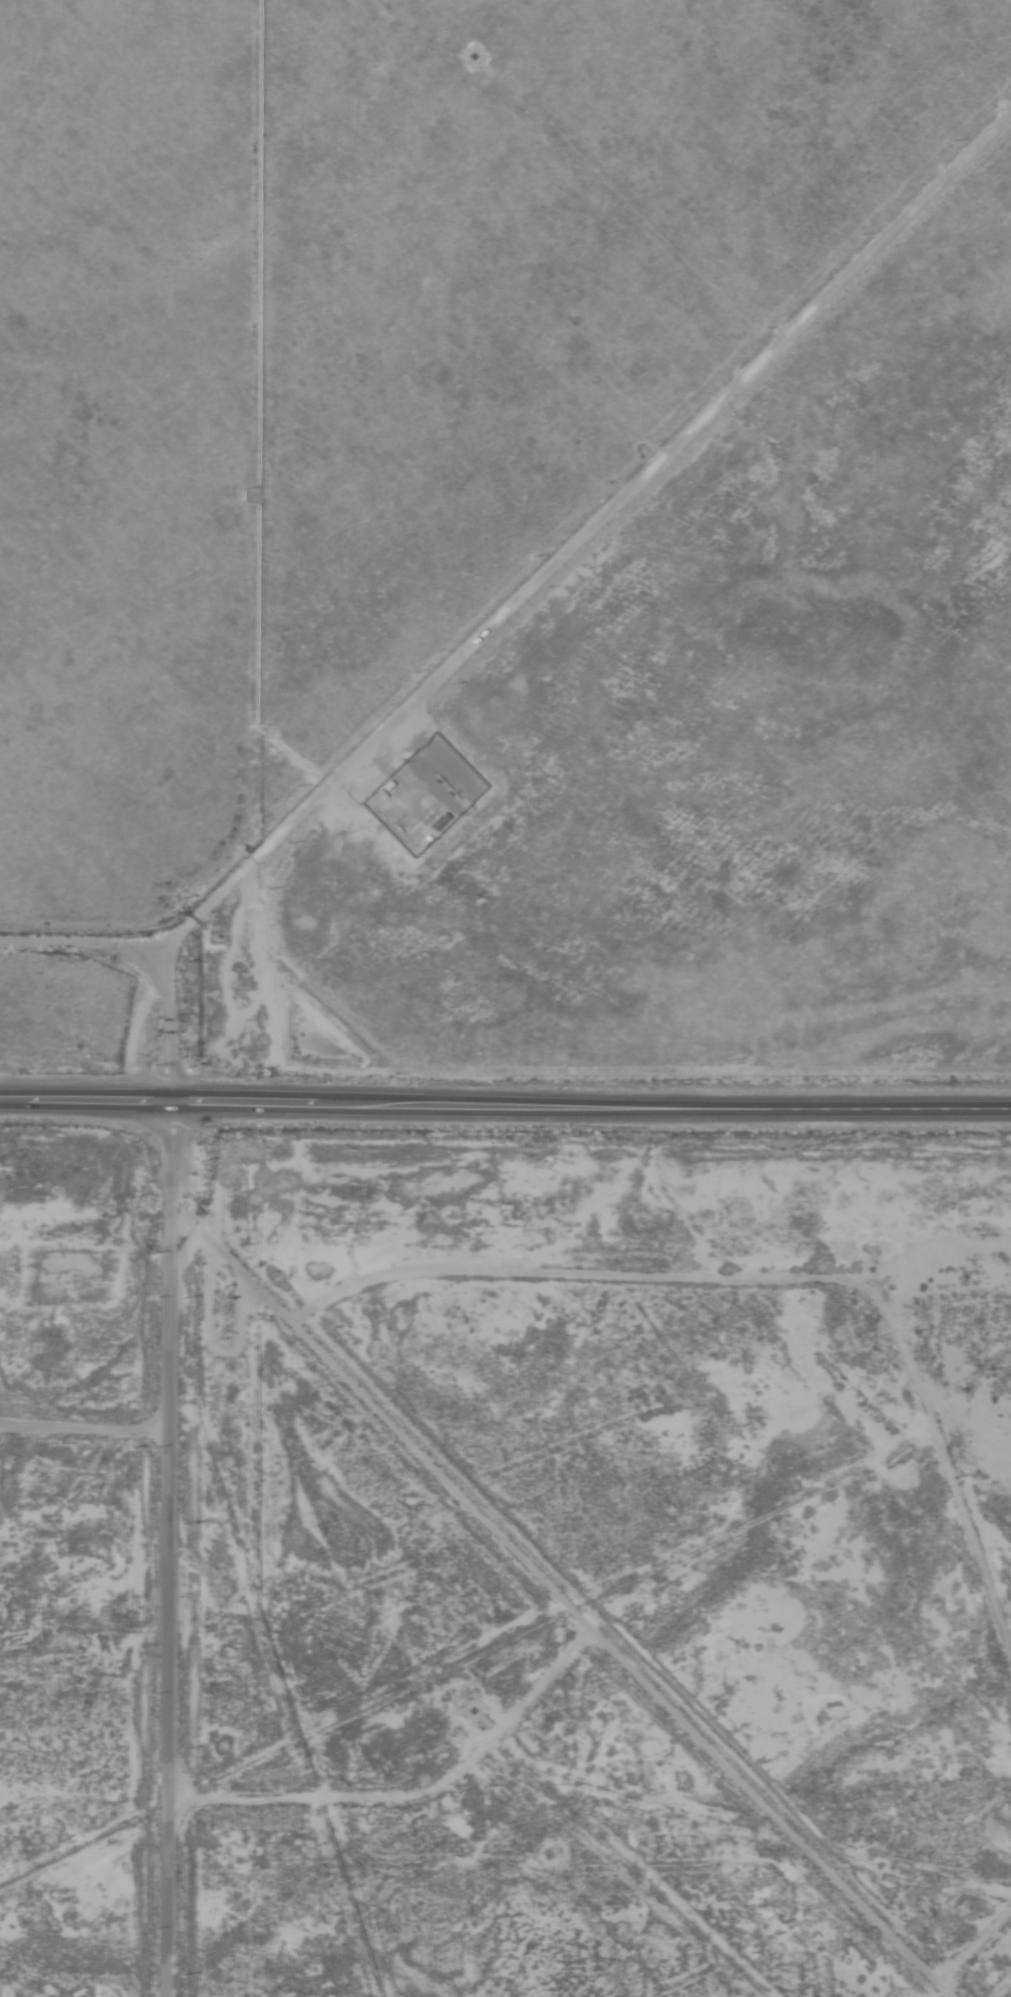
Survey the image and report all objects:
road: (210, 894)
road: (78, 946)
road: (505, 1101)
road: (80, 1425)
road: (573, 1627)
road: (406, 1800)
road: (1006, 1975)
road: (1004, 1988)

